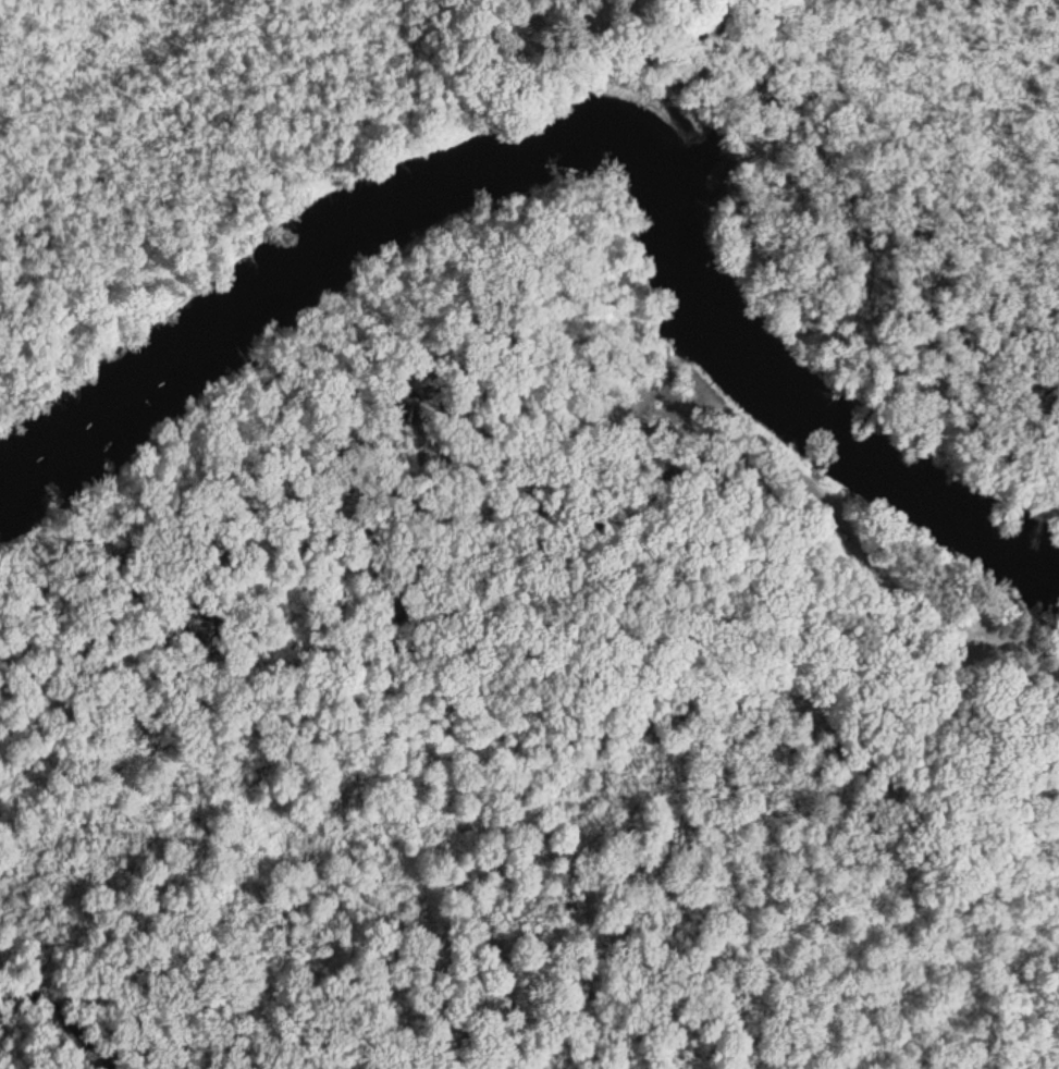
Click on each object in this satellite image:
park: (670, 1)
river: (578, 138)
road: (909, 609)

